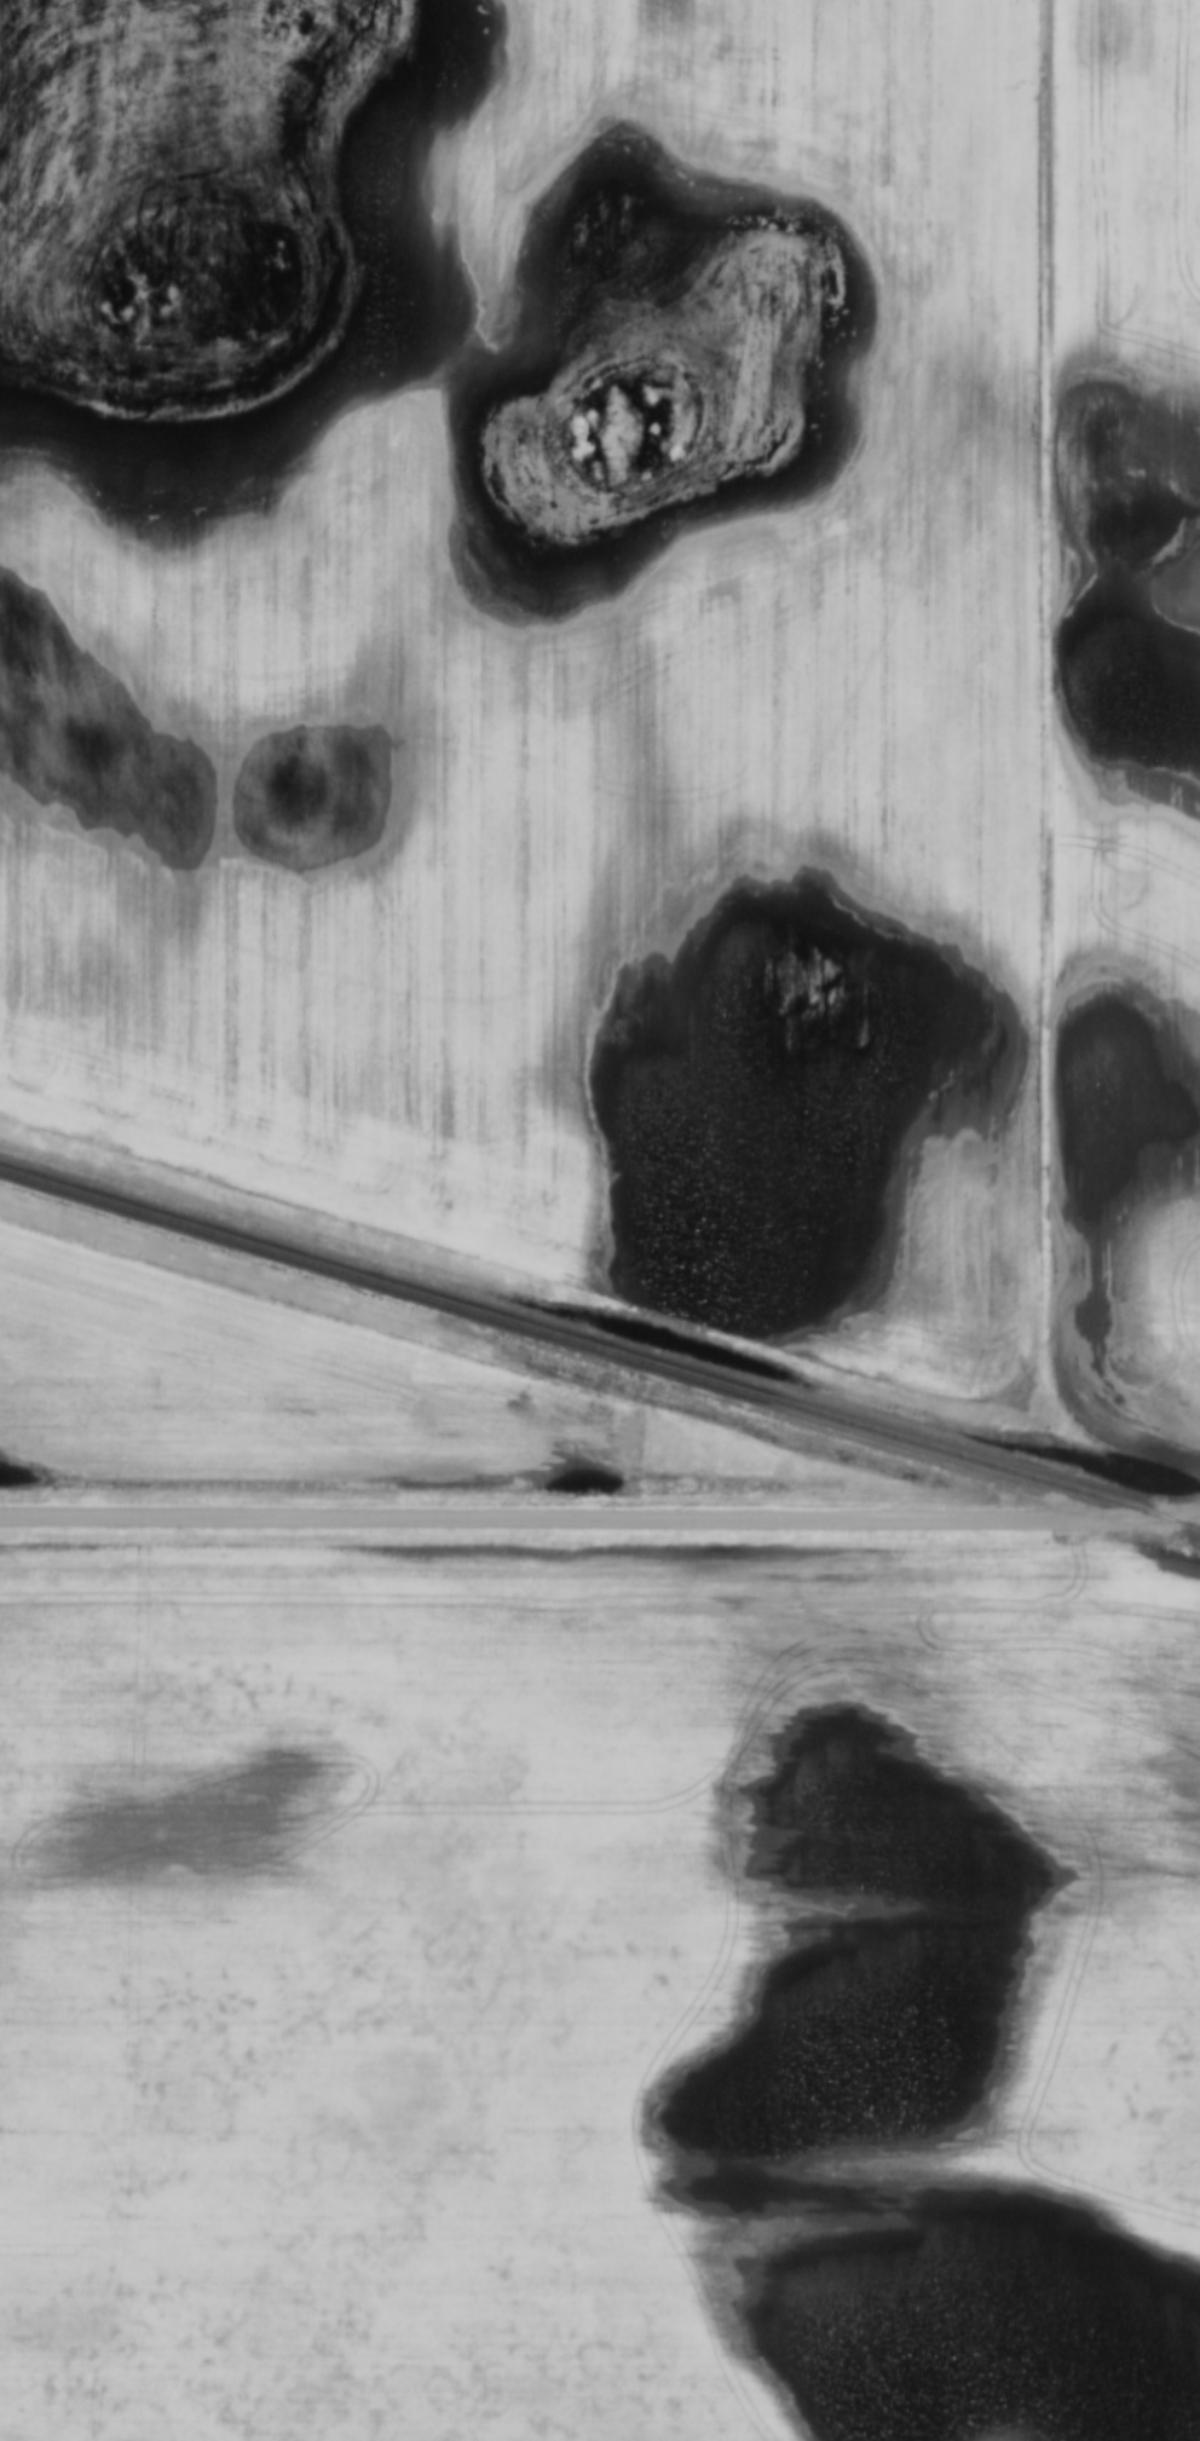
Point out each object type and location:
crop: (541, 631)
railway: (599, 1350)
crop: (248, 1380)
road: (600, 1520)
crop: (600, 1990)

